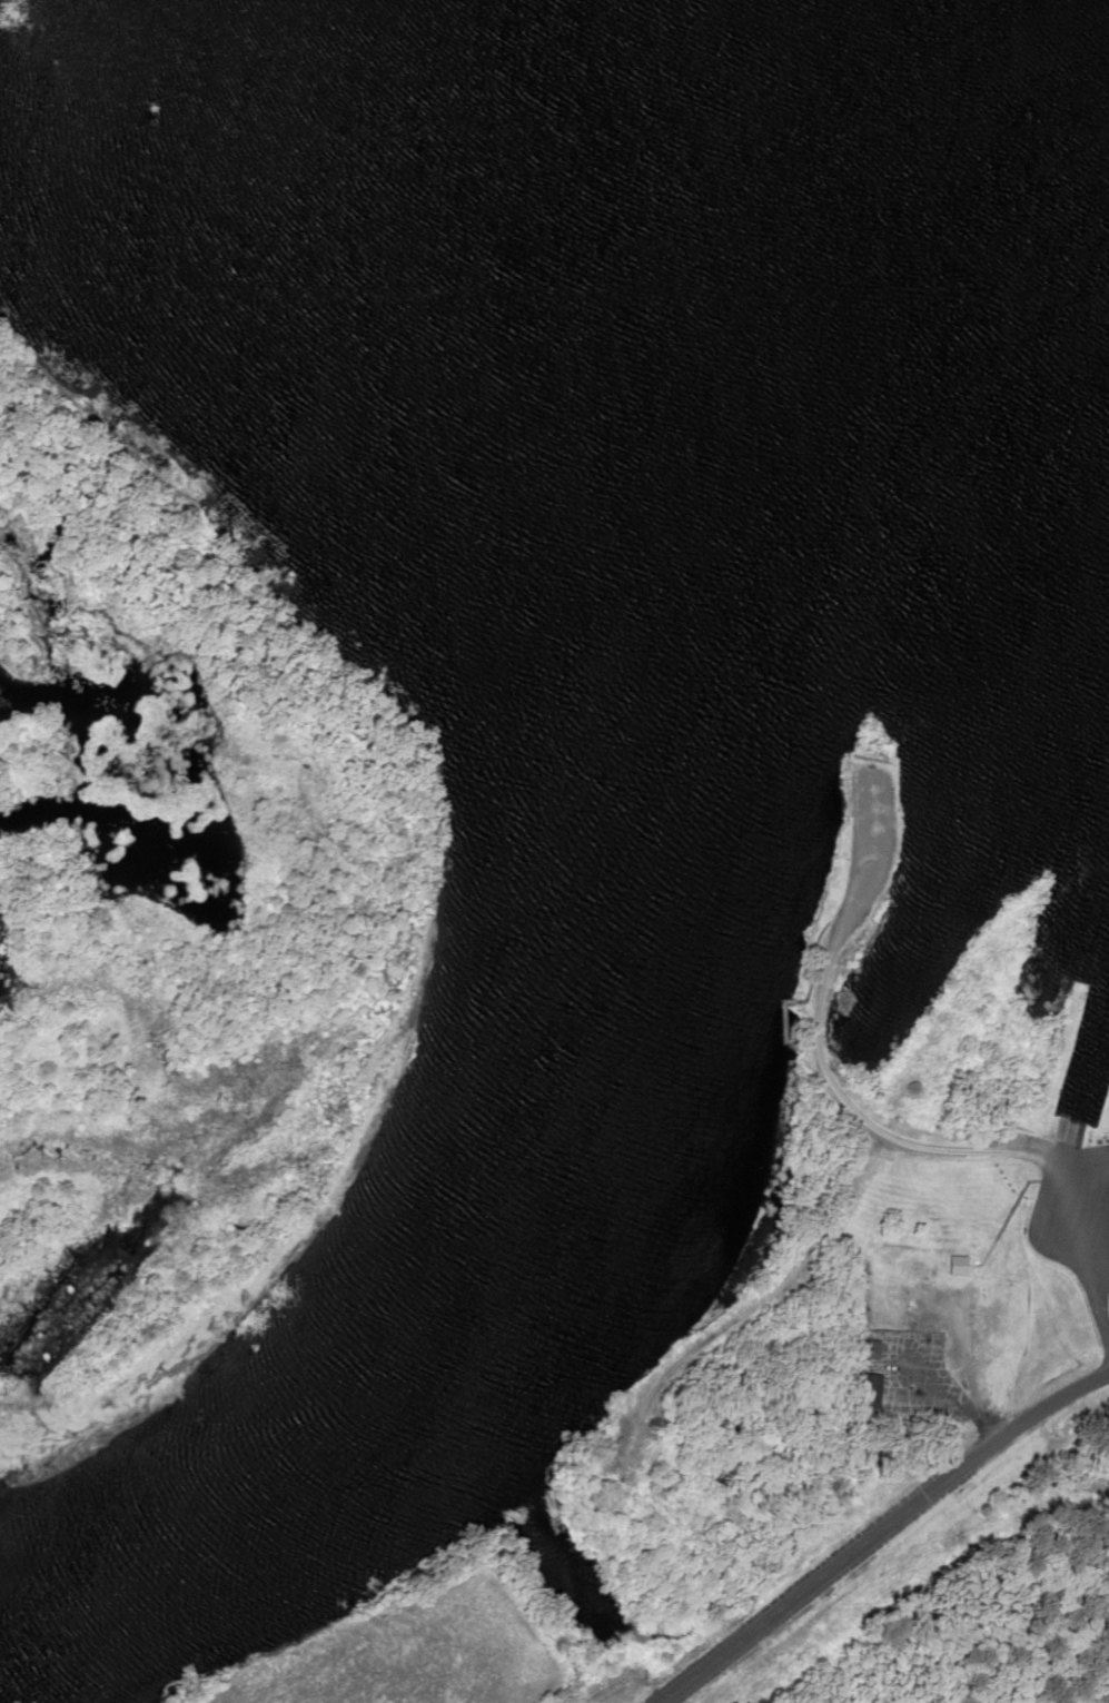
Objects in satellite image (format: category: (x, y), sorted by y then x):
building: (960, 1265)
road: (872, 1527)

